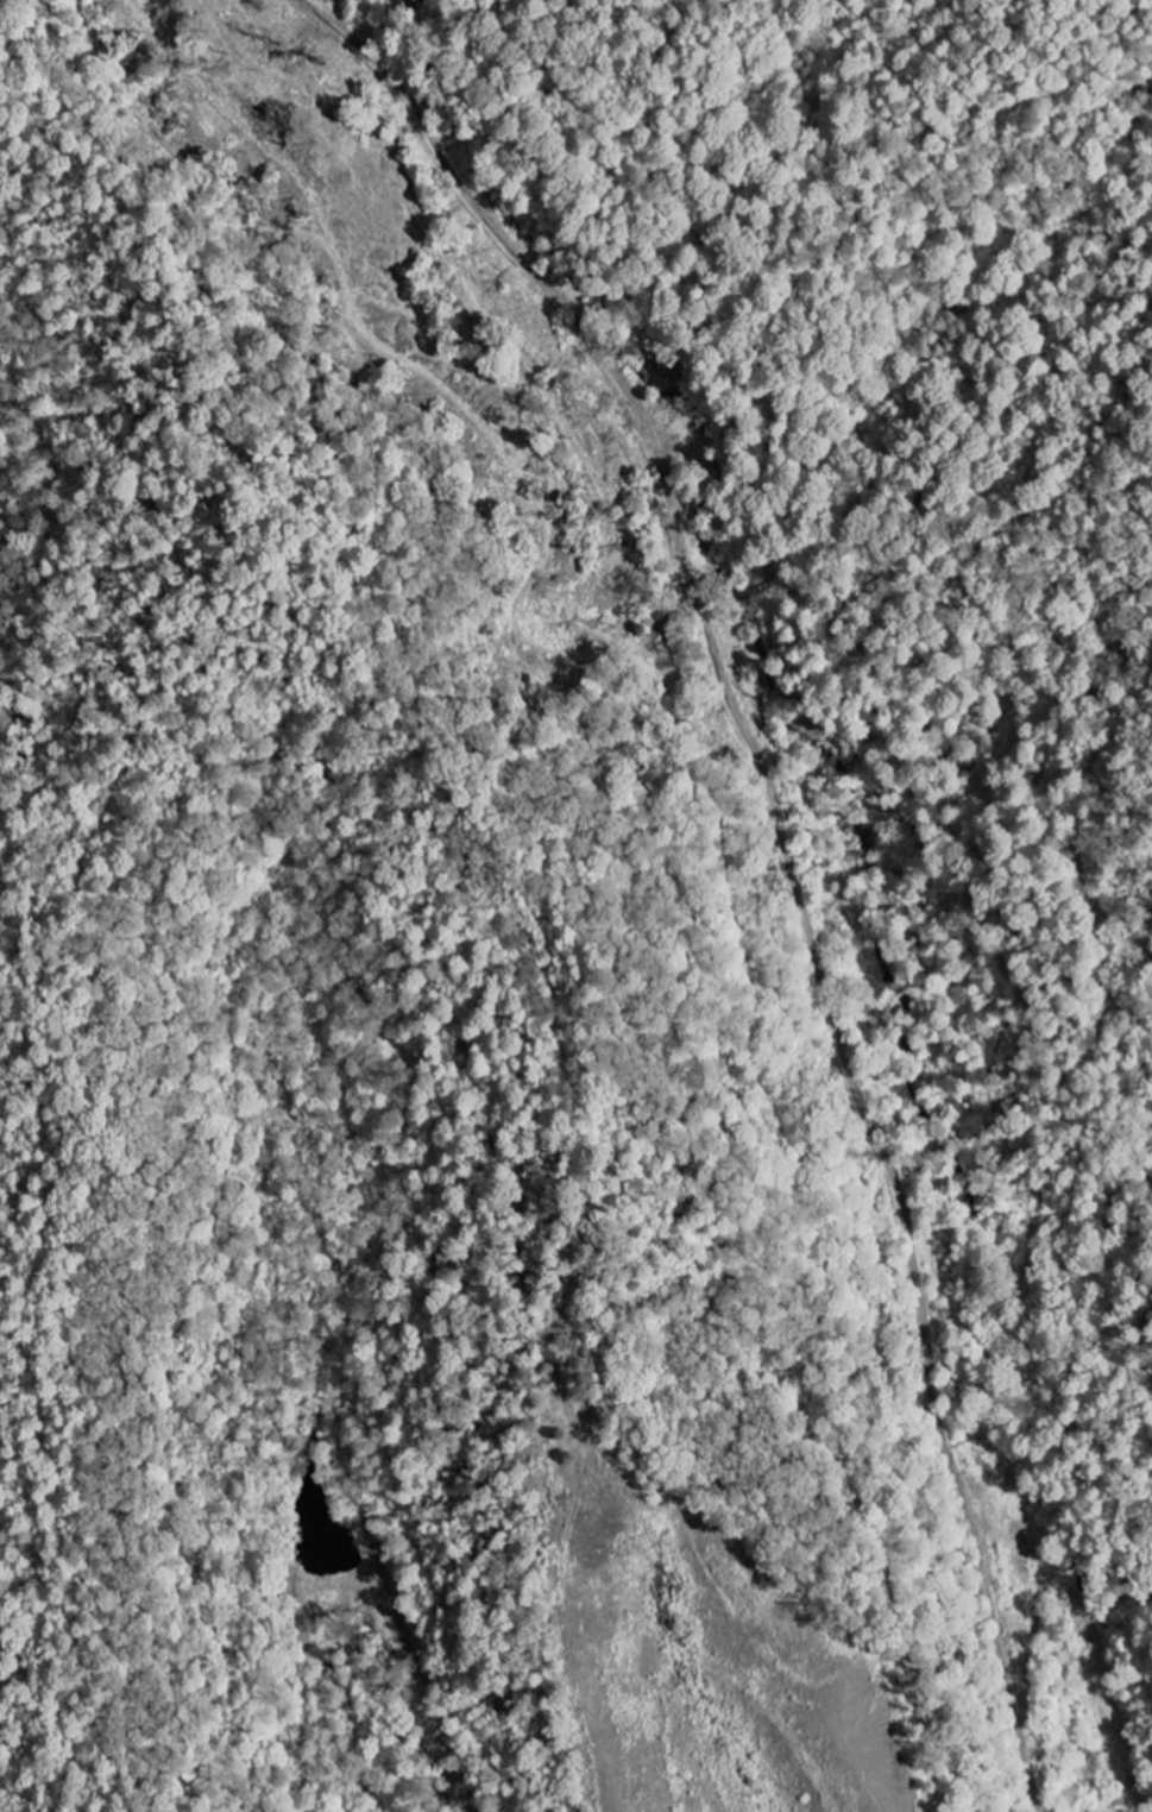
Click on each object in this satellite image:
road: (1028, 1782)

